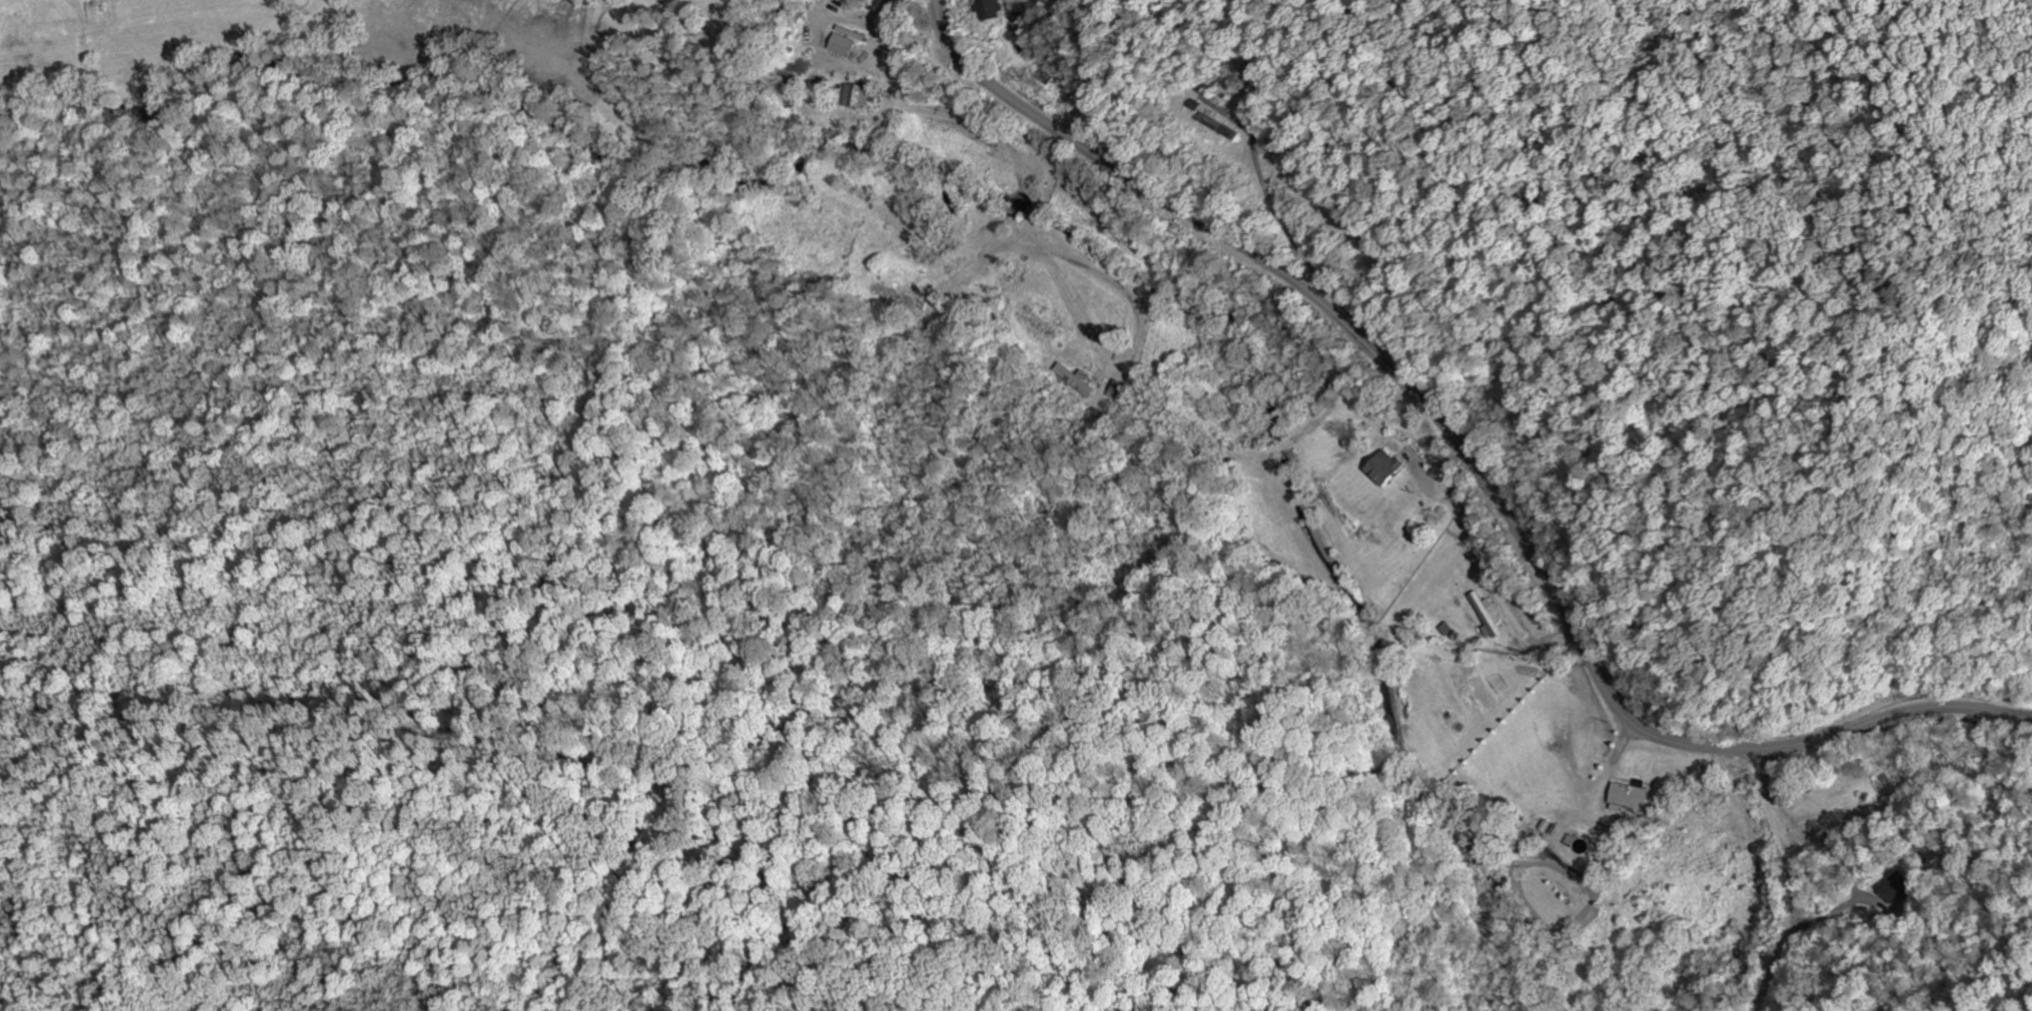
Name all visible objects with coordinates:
building: (993, 10)
building: (843, 45)
building: (855, 97)
road: (1472, 460)
building: (1386, 468)
road: (390, 480)
road: (667, 572)
building: (1484, 616)
road: (1788, 880)
building: (1891, 889)
road: (1796, 930)

